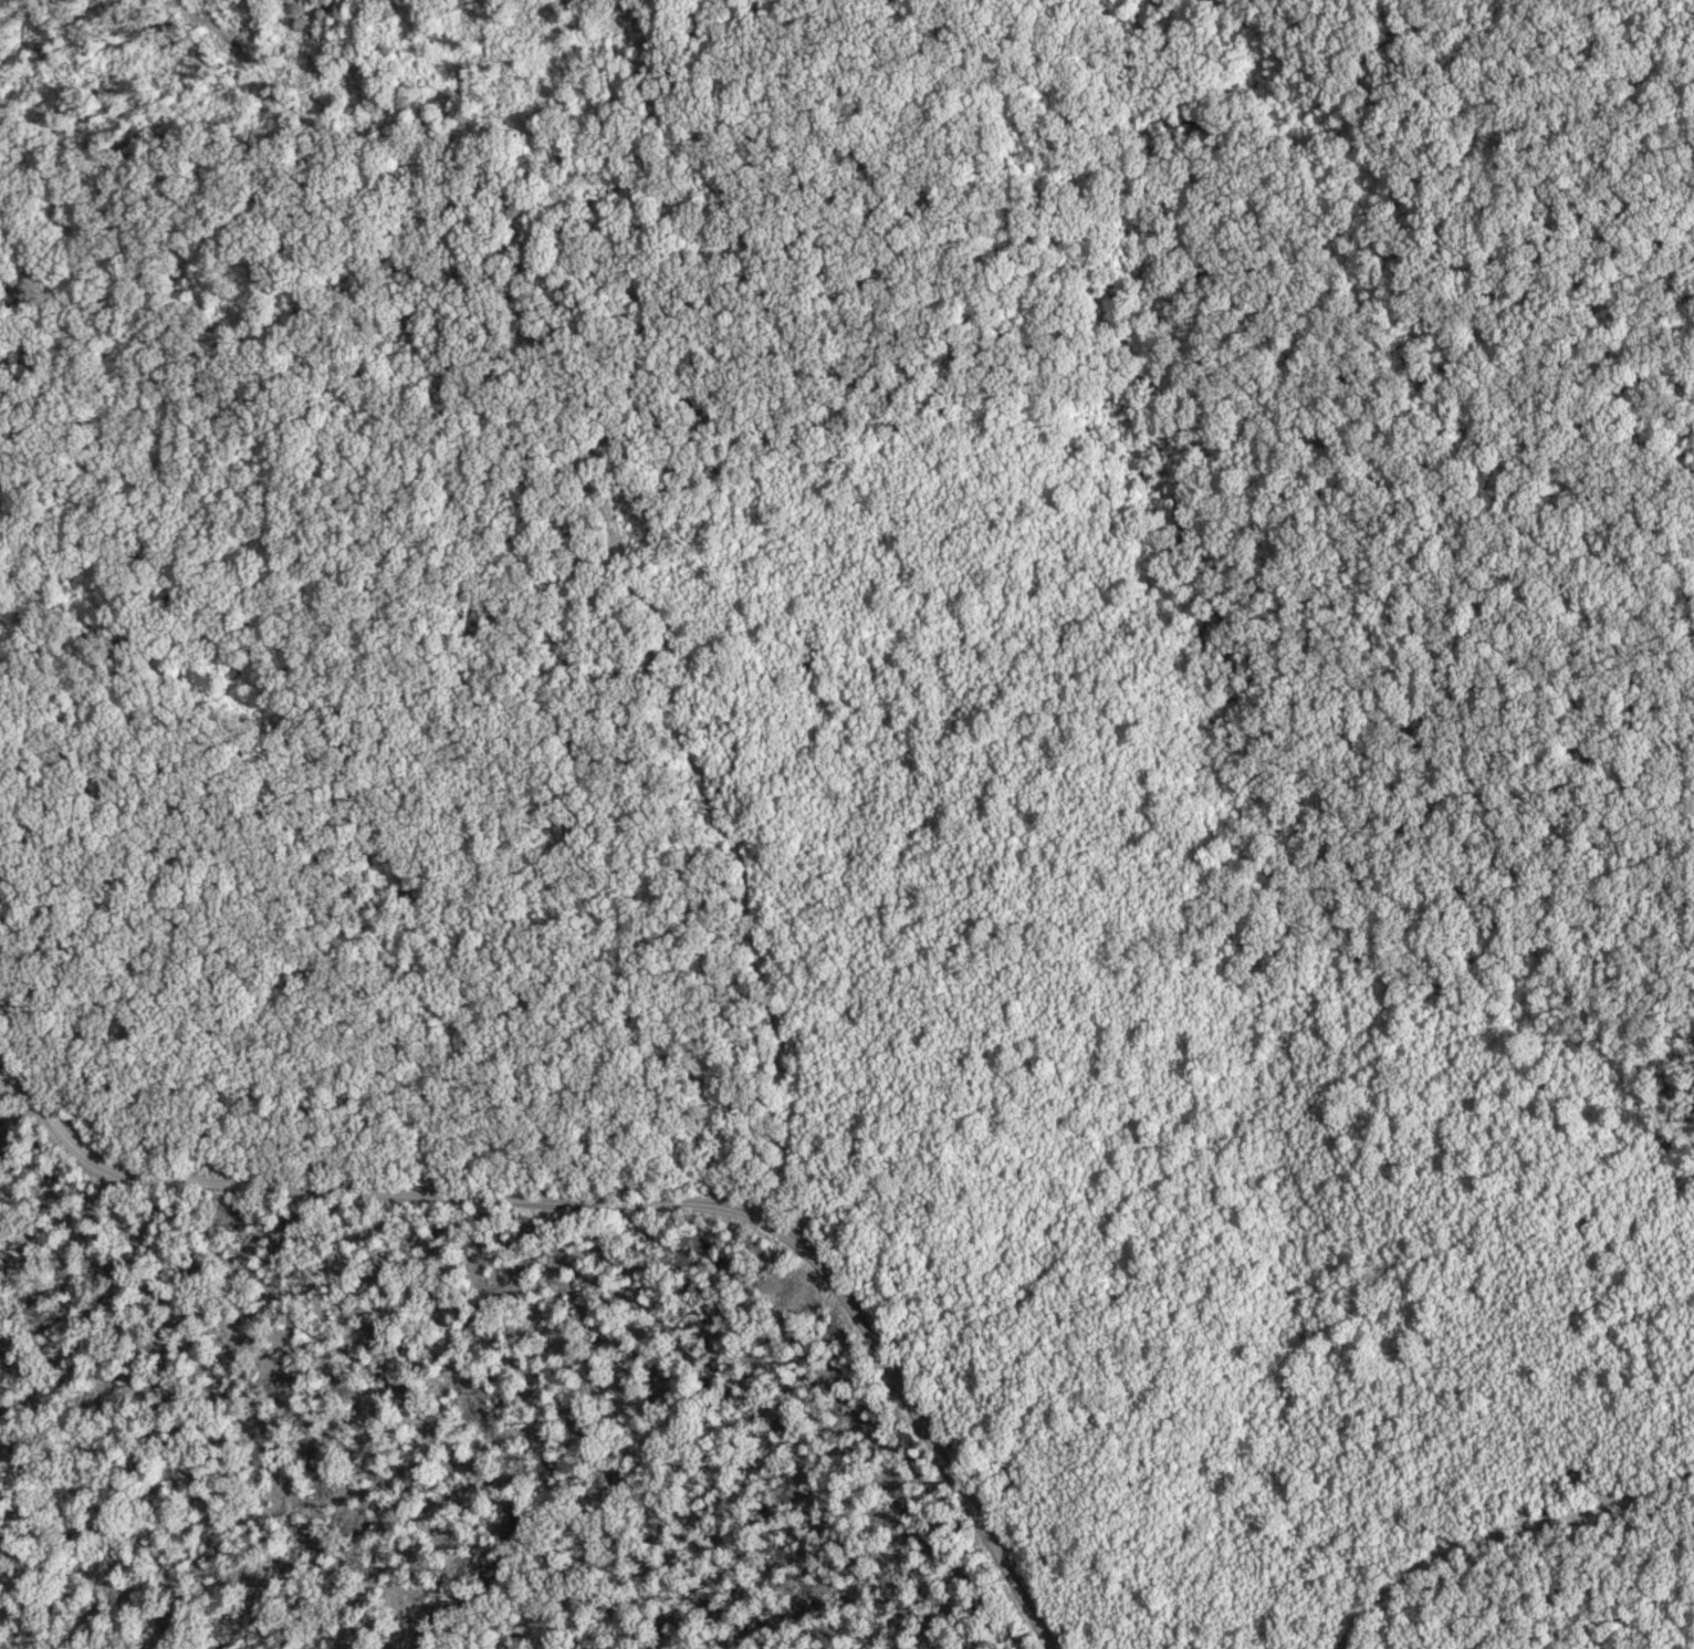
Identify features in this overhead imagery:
road: (613, 1198)
road: (1502, 1532)

